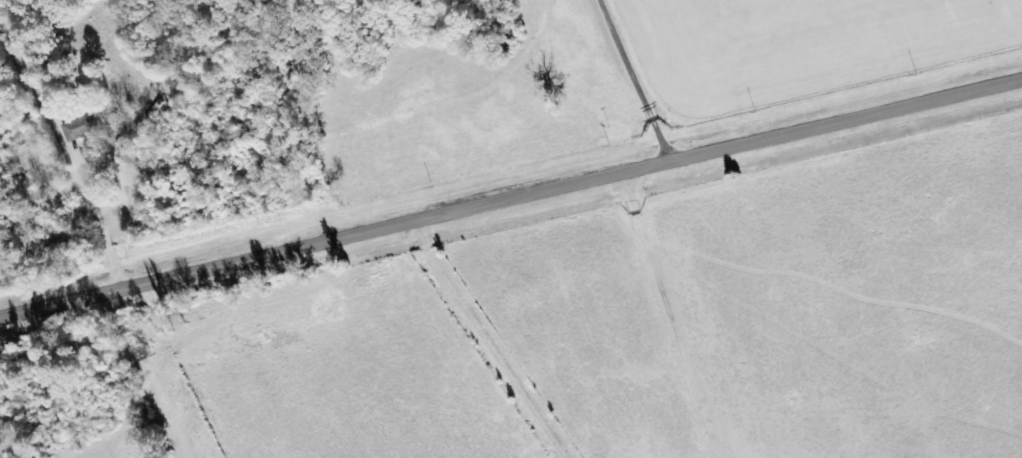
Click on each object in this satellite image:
road: (591, 84)
building: (80, 127)
road: (511, 200)
road: (652, 311)

